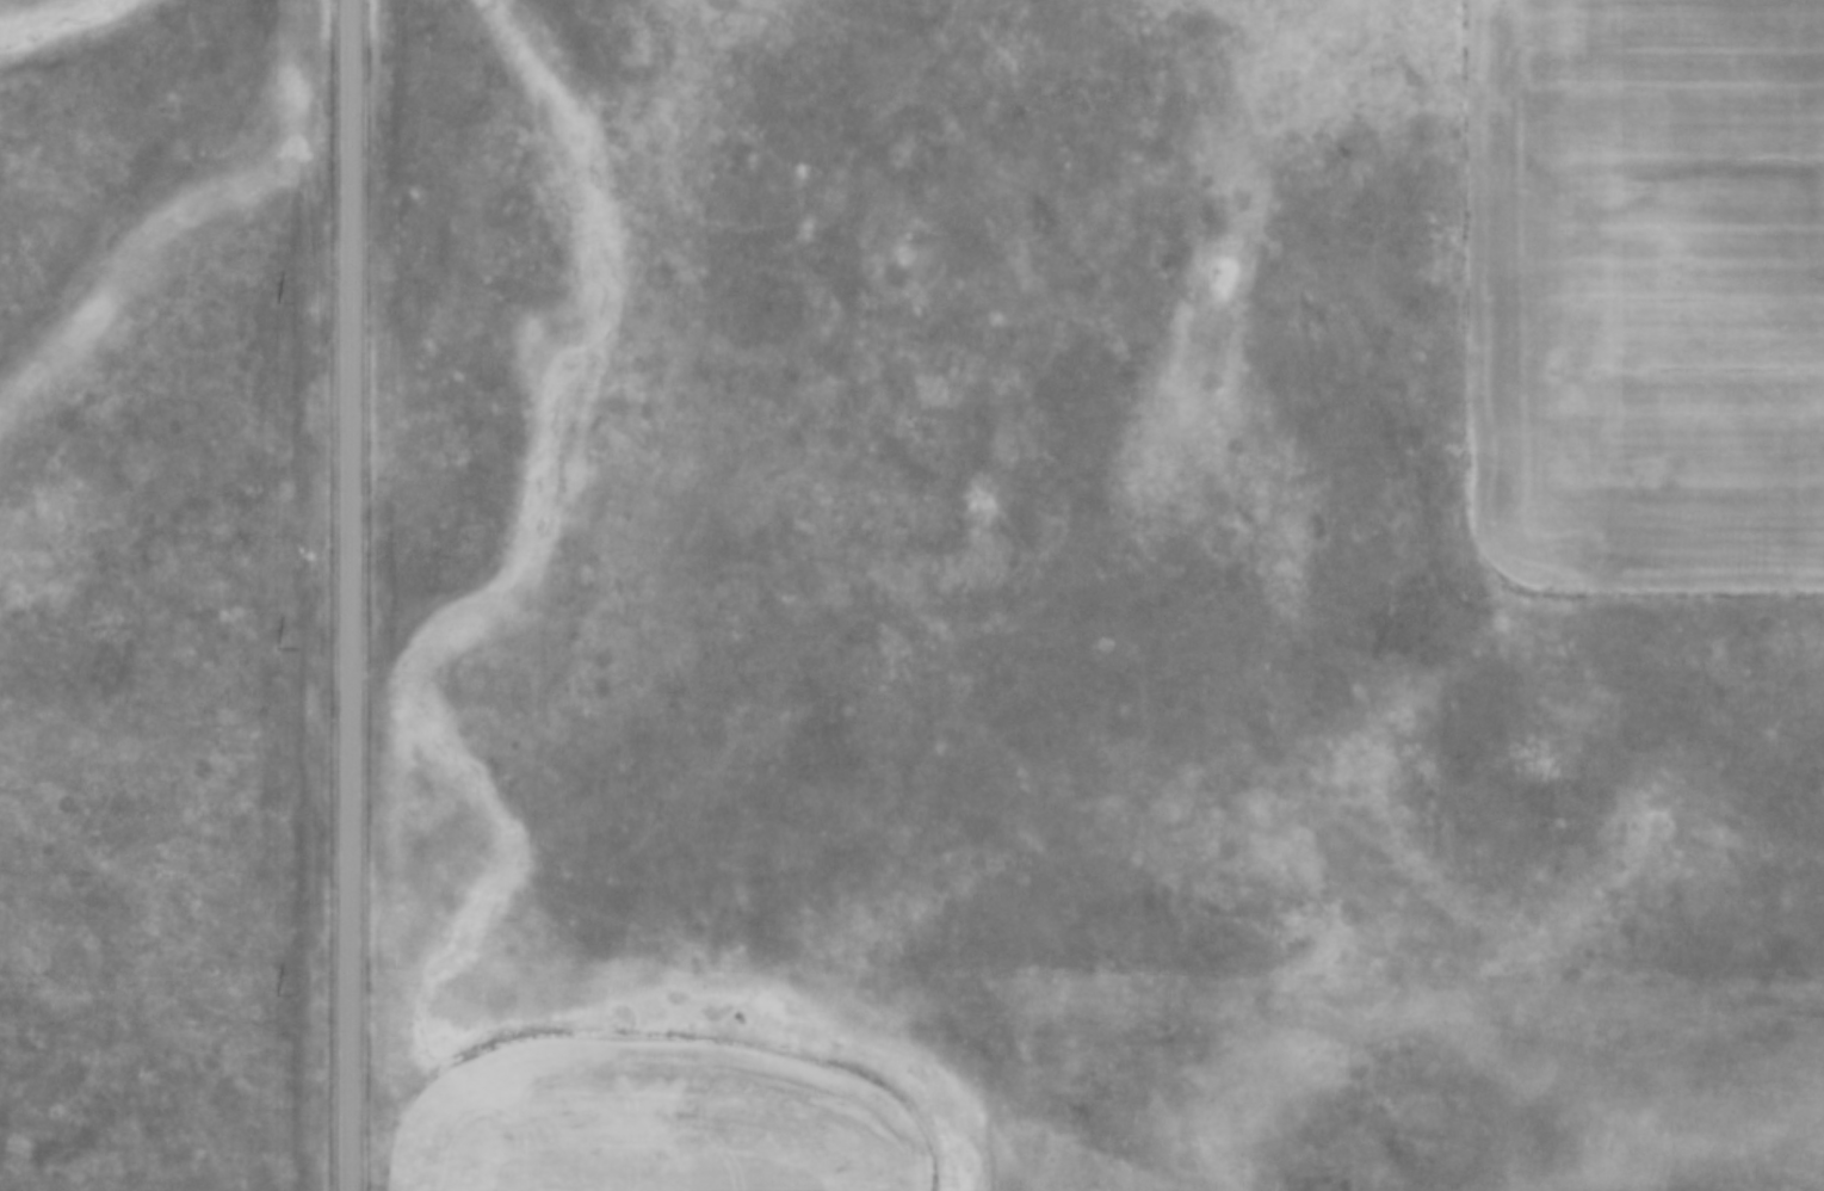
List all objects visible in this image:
road: (352, 594)

